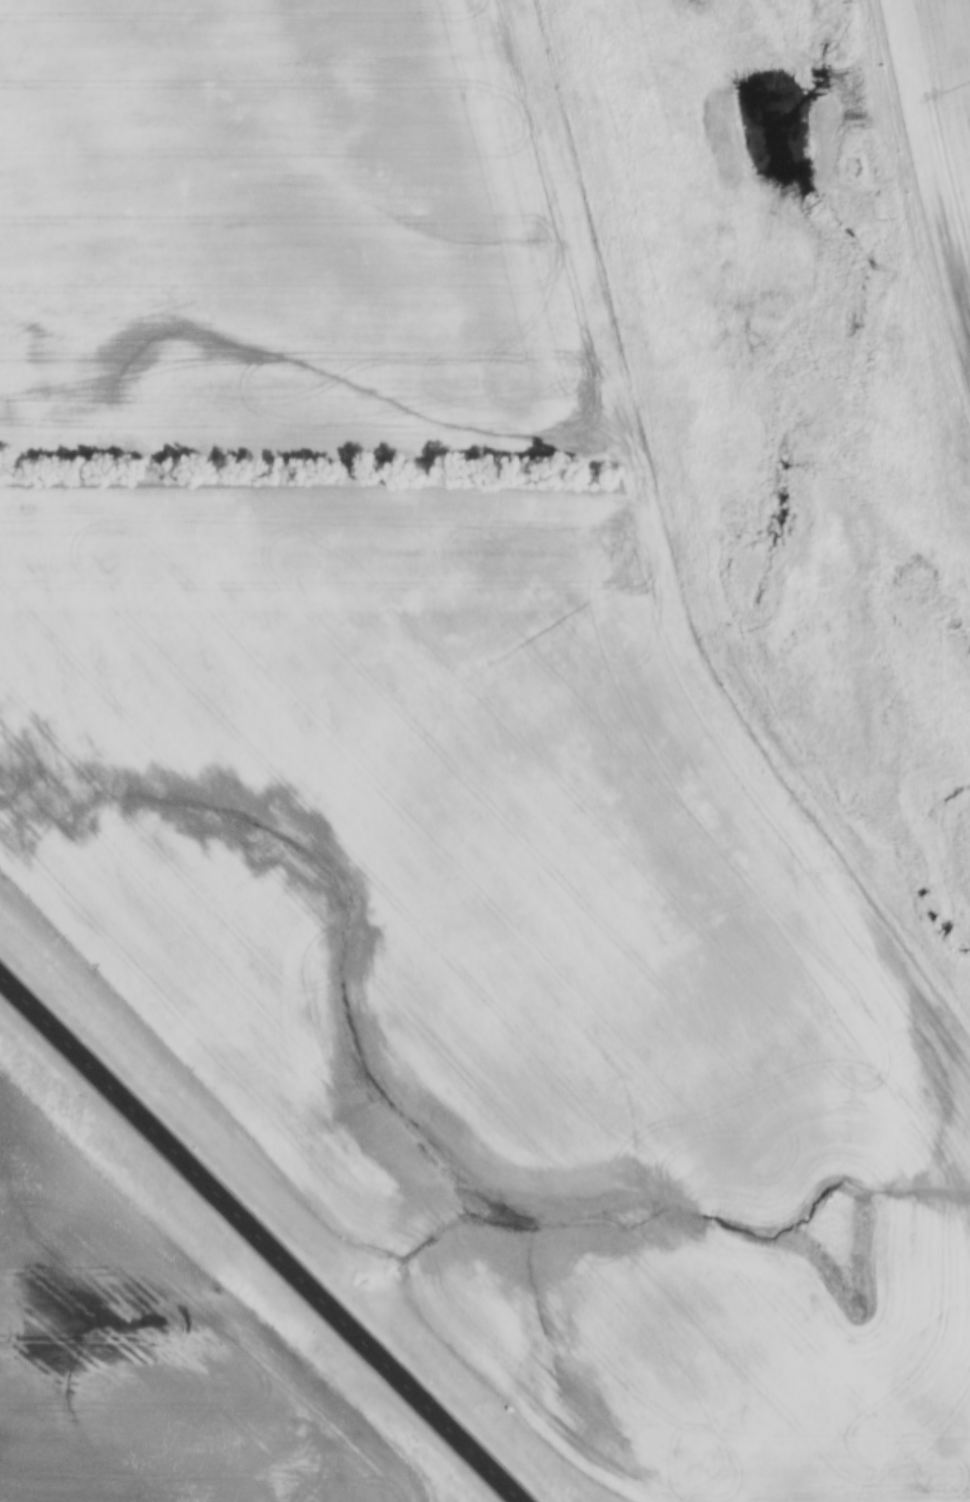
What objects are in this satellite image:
river: (833, 60)
river: (767, 146)
river: (755, 637)
road: (260, 1240)

